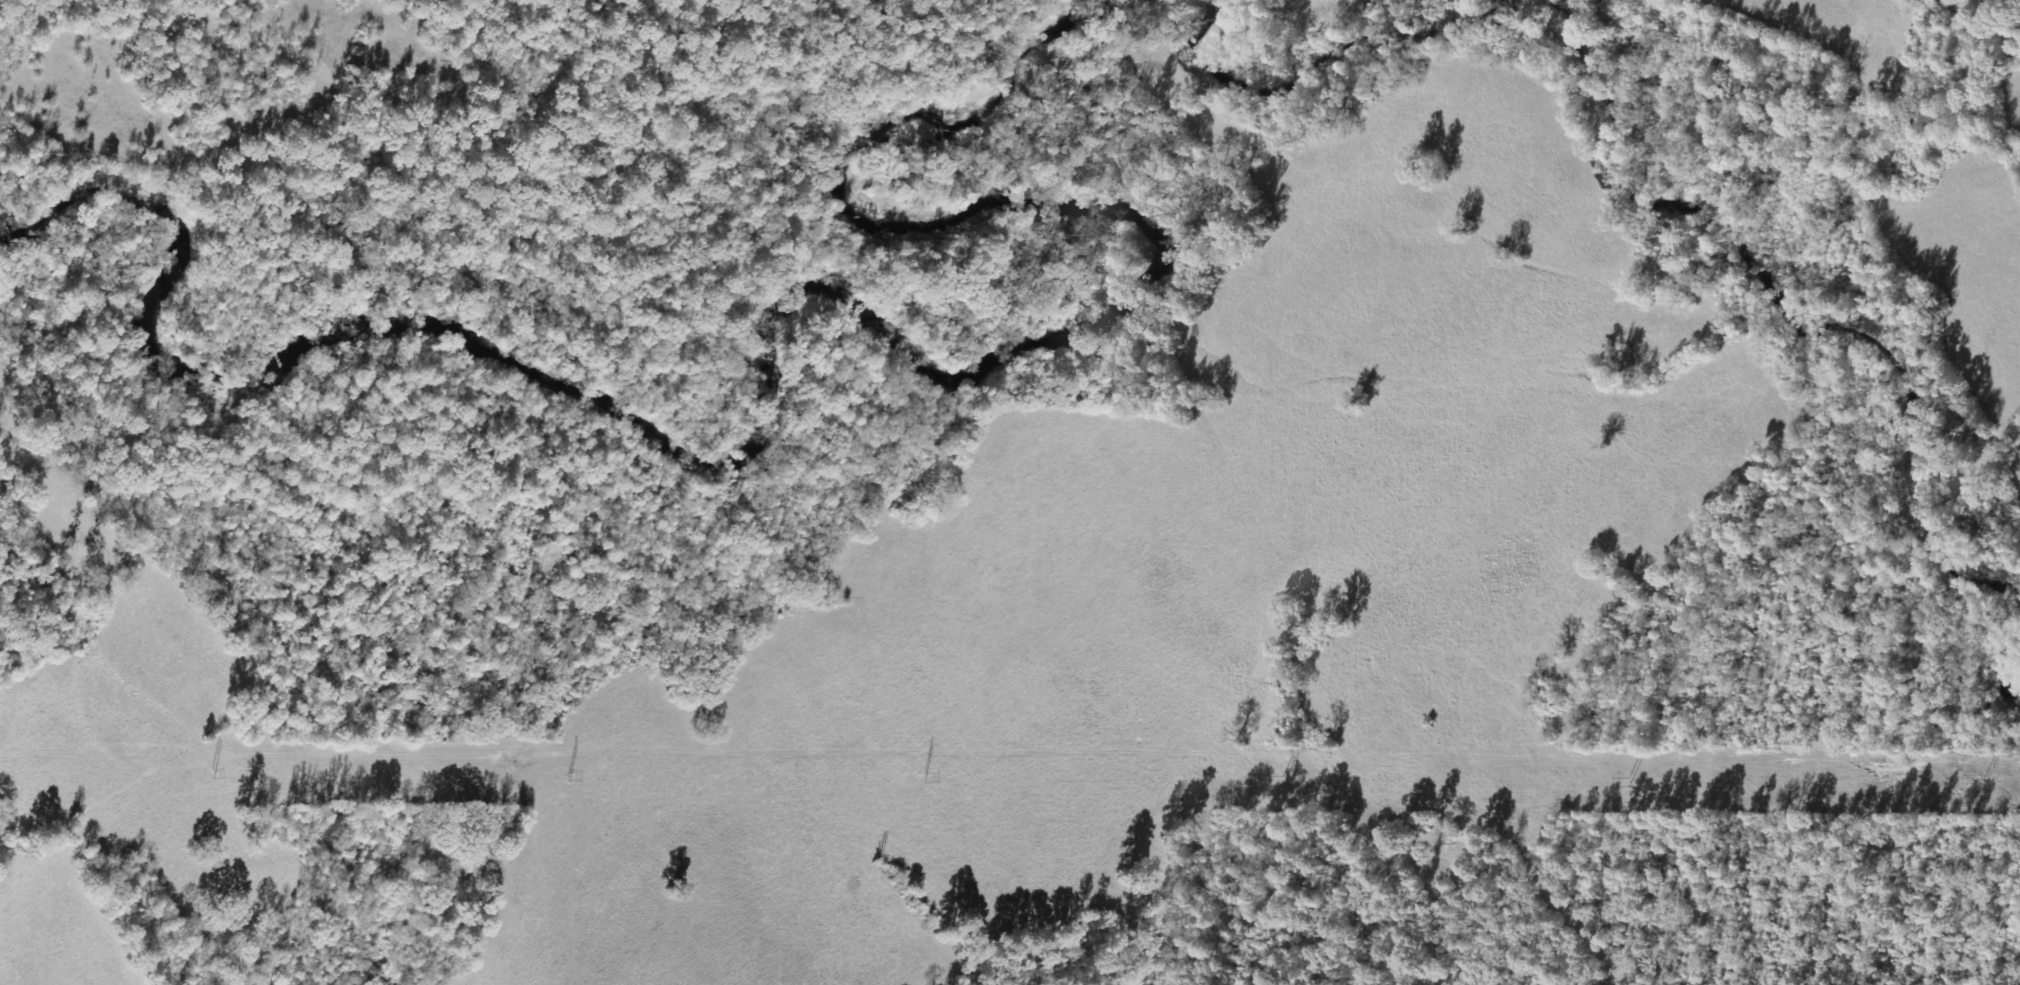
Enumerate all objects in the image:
power tower: (204, 773)
power tower: (571, 774)
power tower: (1278, 777)
power tower: (926, 779)
power tower: (1982, 780)
power tower: (1627, 781)

